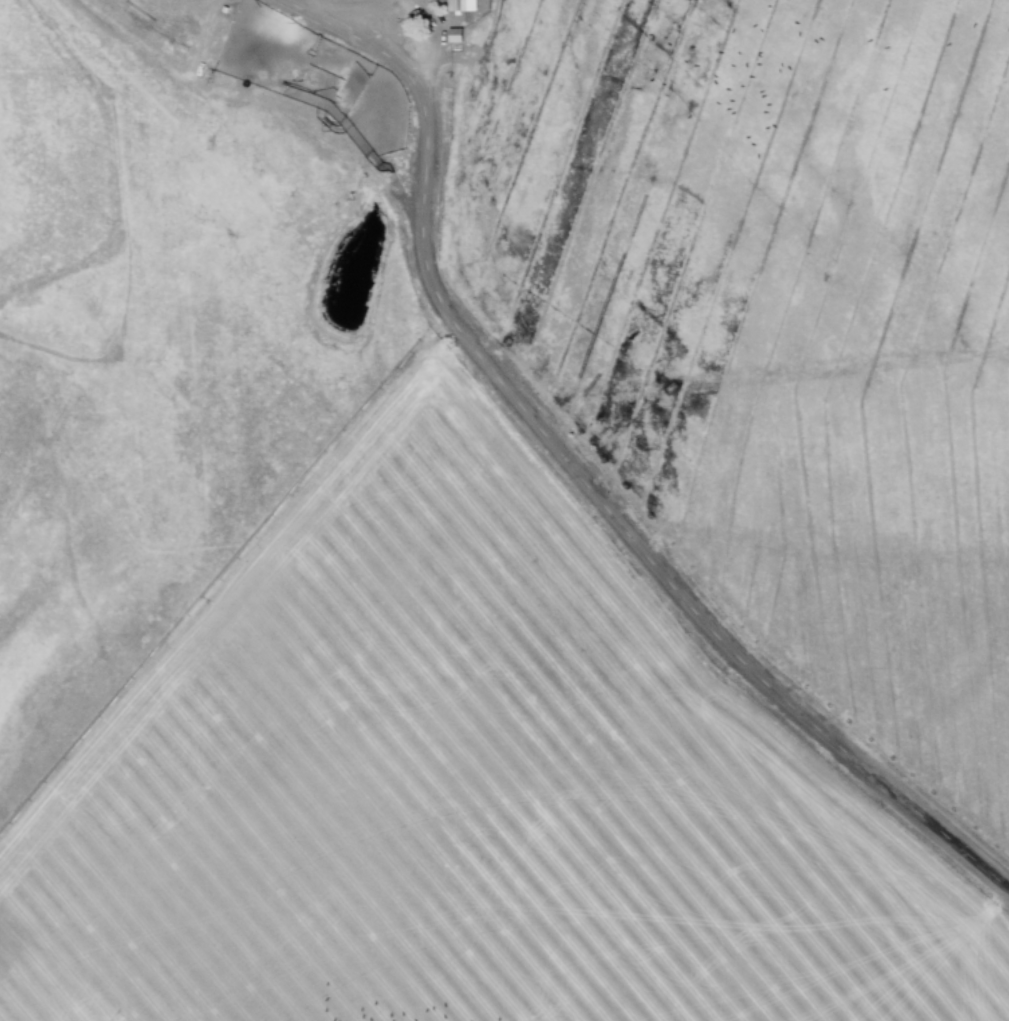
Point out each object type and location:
building: (461, 5)
building: (457, 35)
road: (571, 477)

